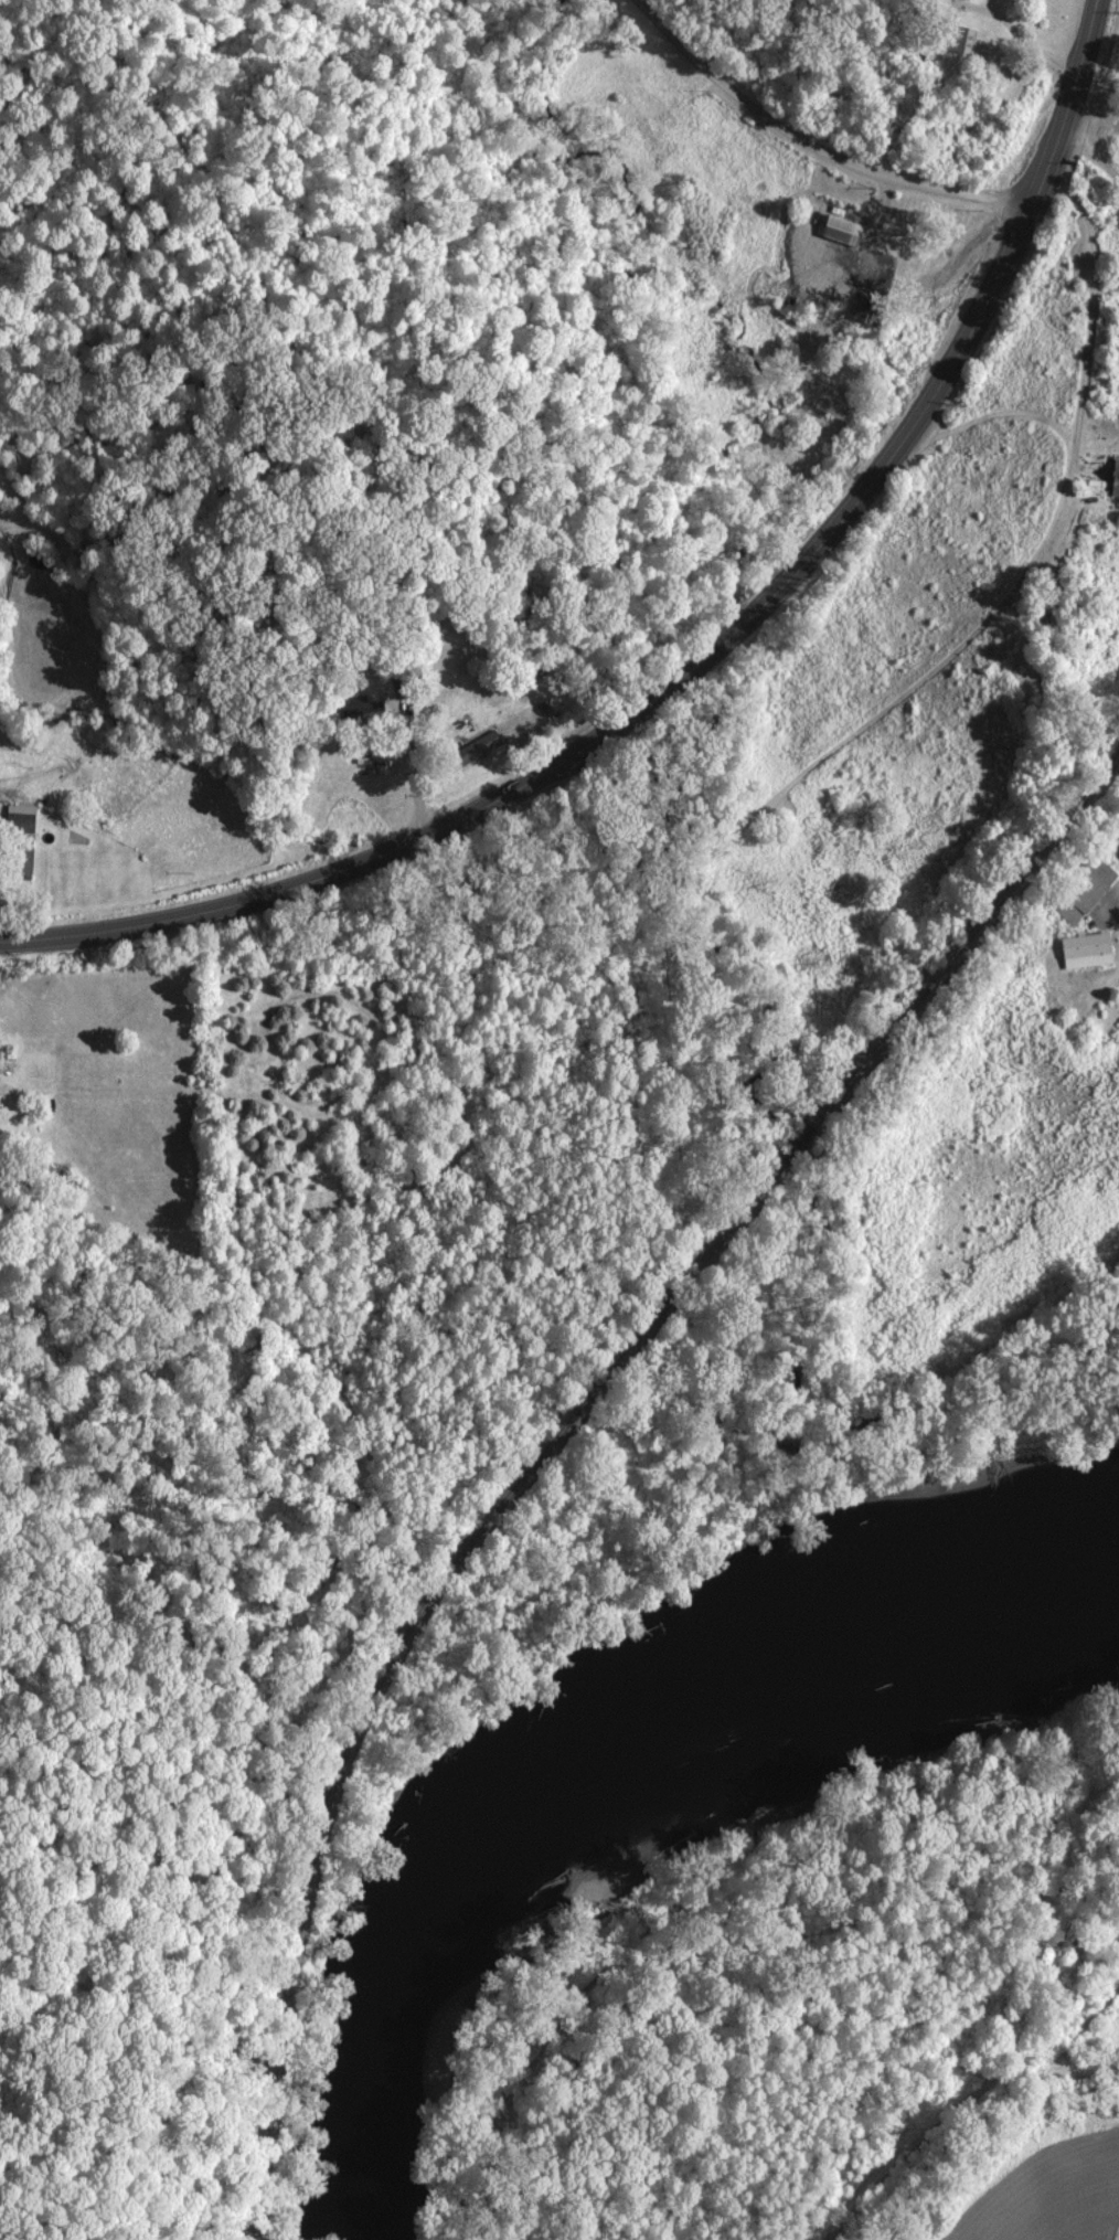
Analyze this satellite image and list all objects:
building: (958, 38)
road: (812, 146)
road: (1091, 150)
building: (841, 229)
road: (1090, 311)
building: (1115, 475)
road: (707, 656)
building: (365, 708)
building: (475, 749)
building: (19, 817)
building: (22, 862)
building: (1084, 890)
railway: (968, 939)
building: (1086, 949)
railway: (800, 1143)
railway: (399, 1645)
river: (590, 1747)

